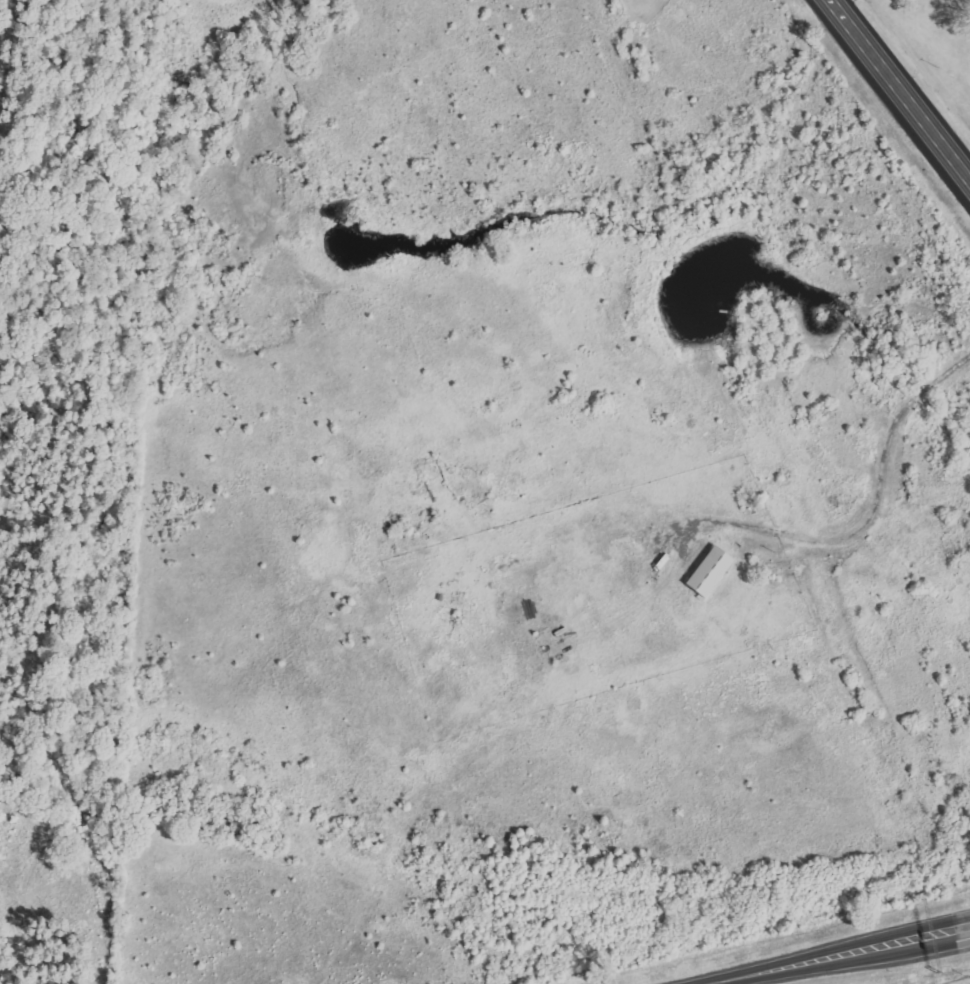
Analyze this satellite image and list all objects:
road: (199, 16)
road: (900, 87)
building: (713, 571)
road: (912, 942)
road: (912, 948)
road: (779, 969)

